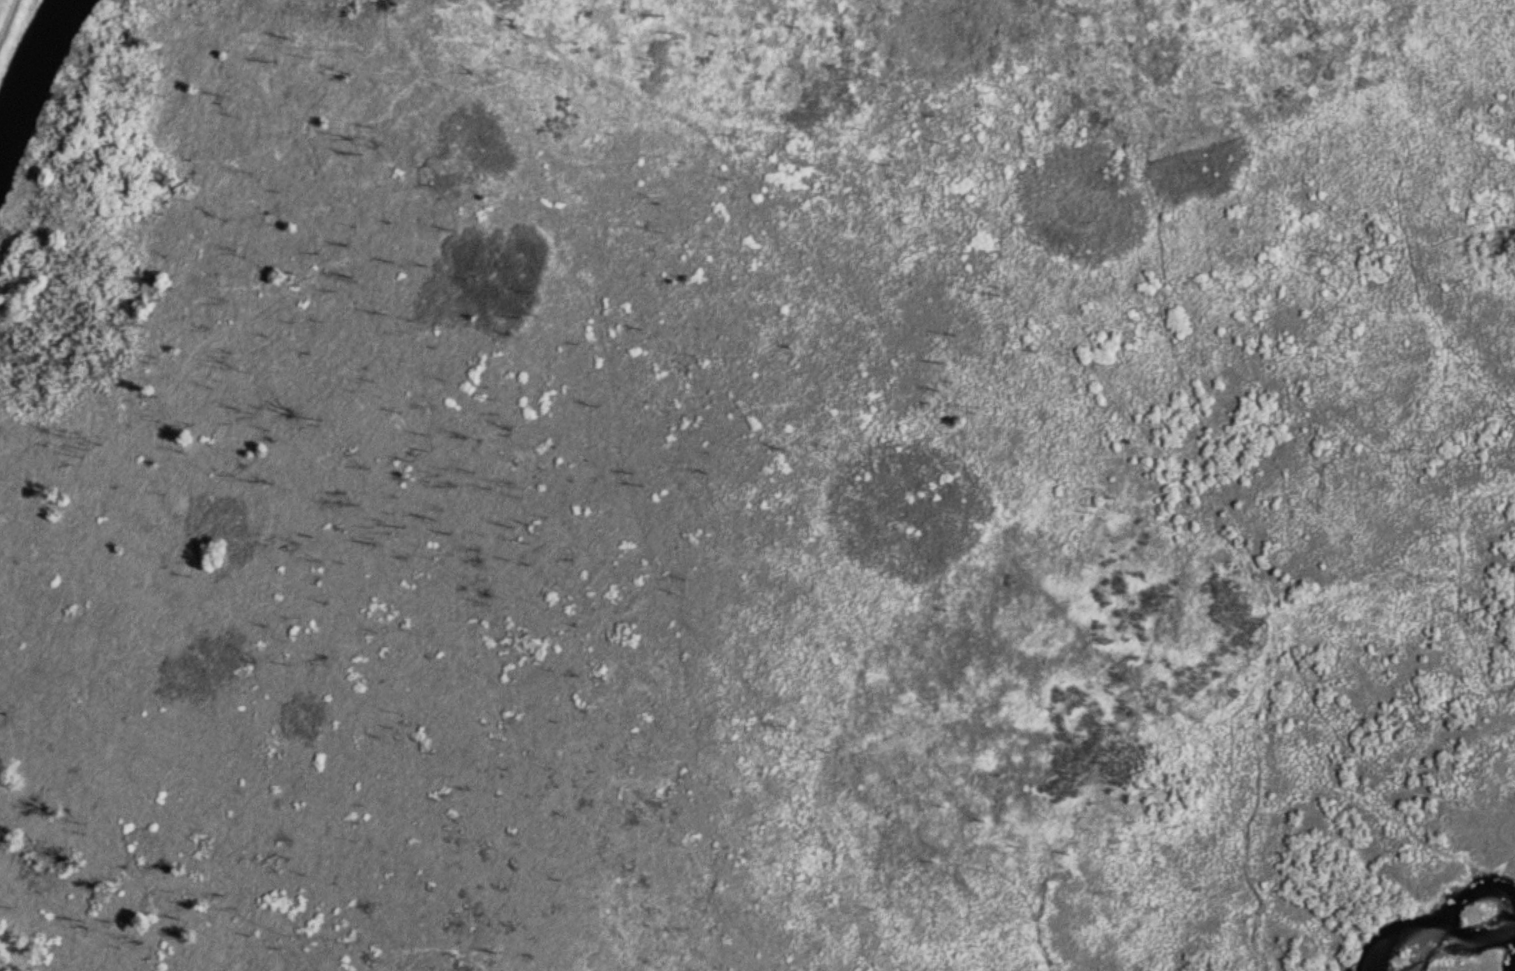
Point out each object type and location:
road: (6, 14)

